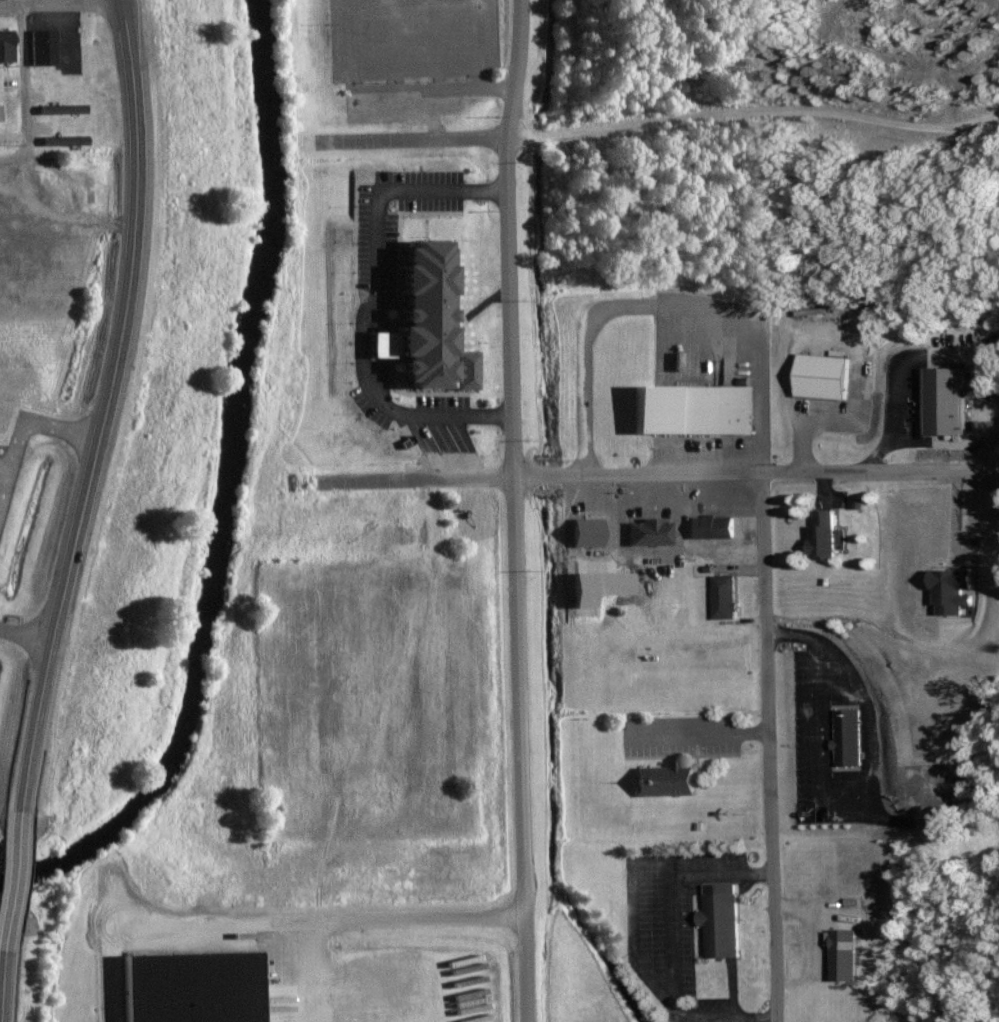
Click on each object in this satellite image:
road: (59, 1)
building: (7, 46)
building: (44, 48)
road: (24, 87)
building: (63, 109)
road: (754, 112)
building: (0, 114)
road: (412, 138)
building: (65, 141)
road: (107, 159)
road: (40, 160)
building: (50, 187)
building: (825, 377)
building: (947, 402)
road: (107, 405)
building: (694, 410)
road: (635, 473)
river: (223, 485)
road: (512, 510)
building: (713, 526)
building: (589, 531)
building: (651, 531)
building: (824, 534)
building: (726, 596)
road: (25, 633)
building: (848, 737)
road: (770, 746)
building: (668, 780)
road: (14, 876)
building: (722, 923)
building: (846, 955)
road: (3, 984)
building: (194, 987)

